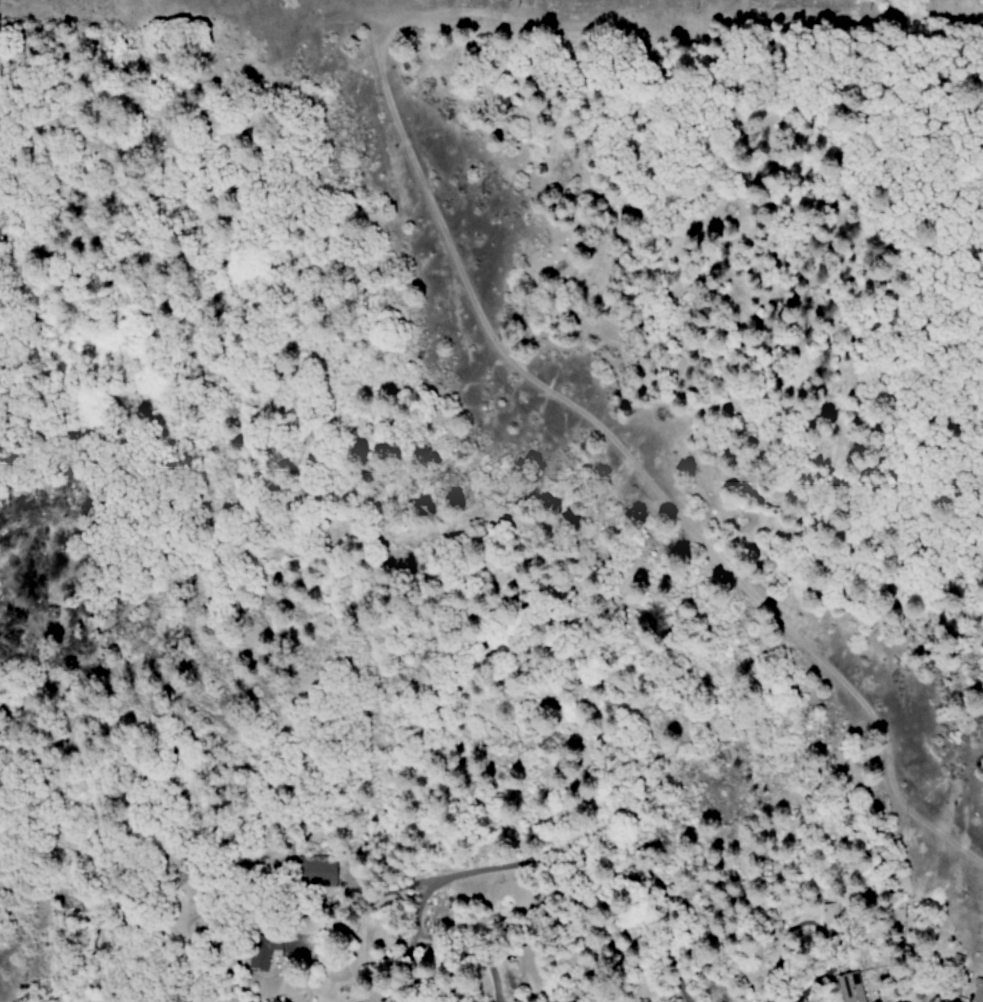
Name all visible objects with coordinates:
crop: (913, 21)
crop: (951, 141)
road: (633, 464)
road: (606, 859)
building: (322, 870)
road: (362, 909)
building: (830, 913)
road: (415, 938)
building: (263, 950)
building: (849, 987)
building: (977, 991)

